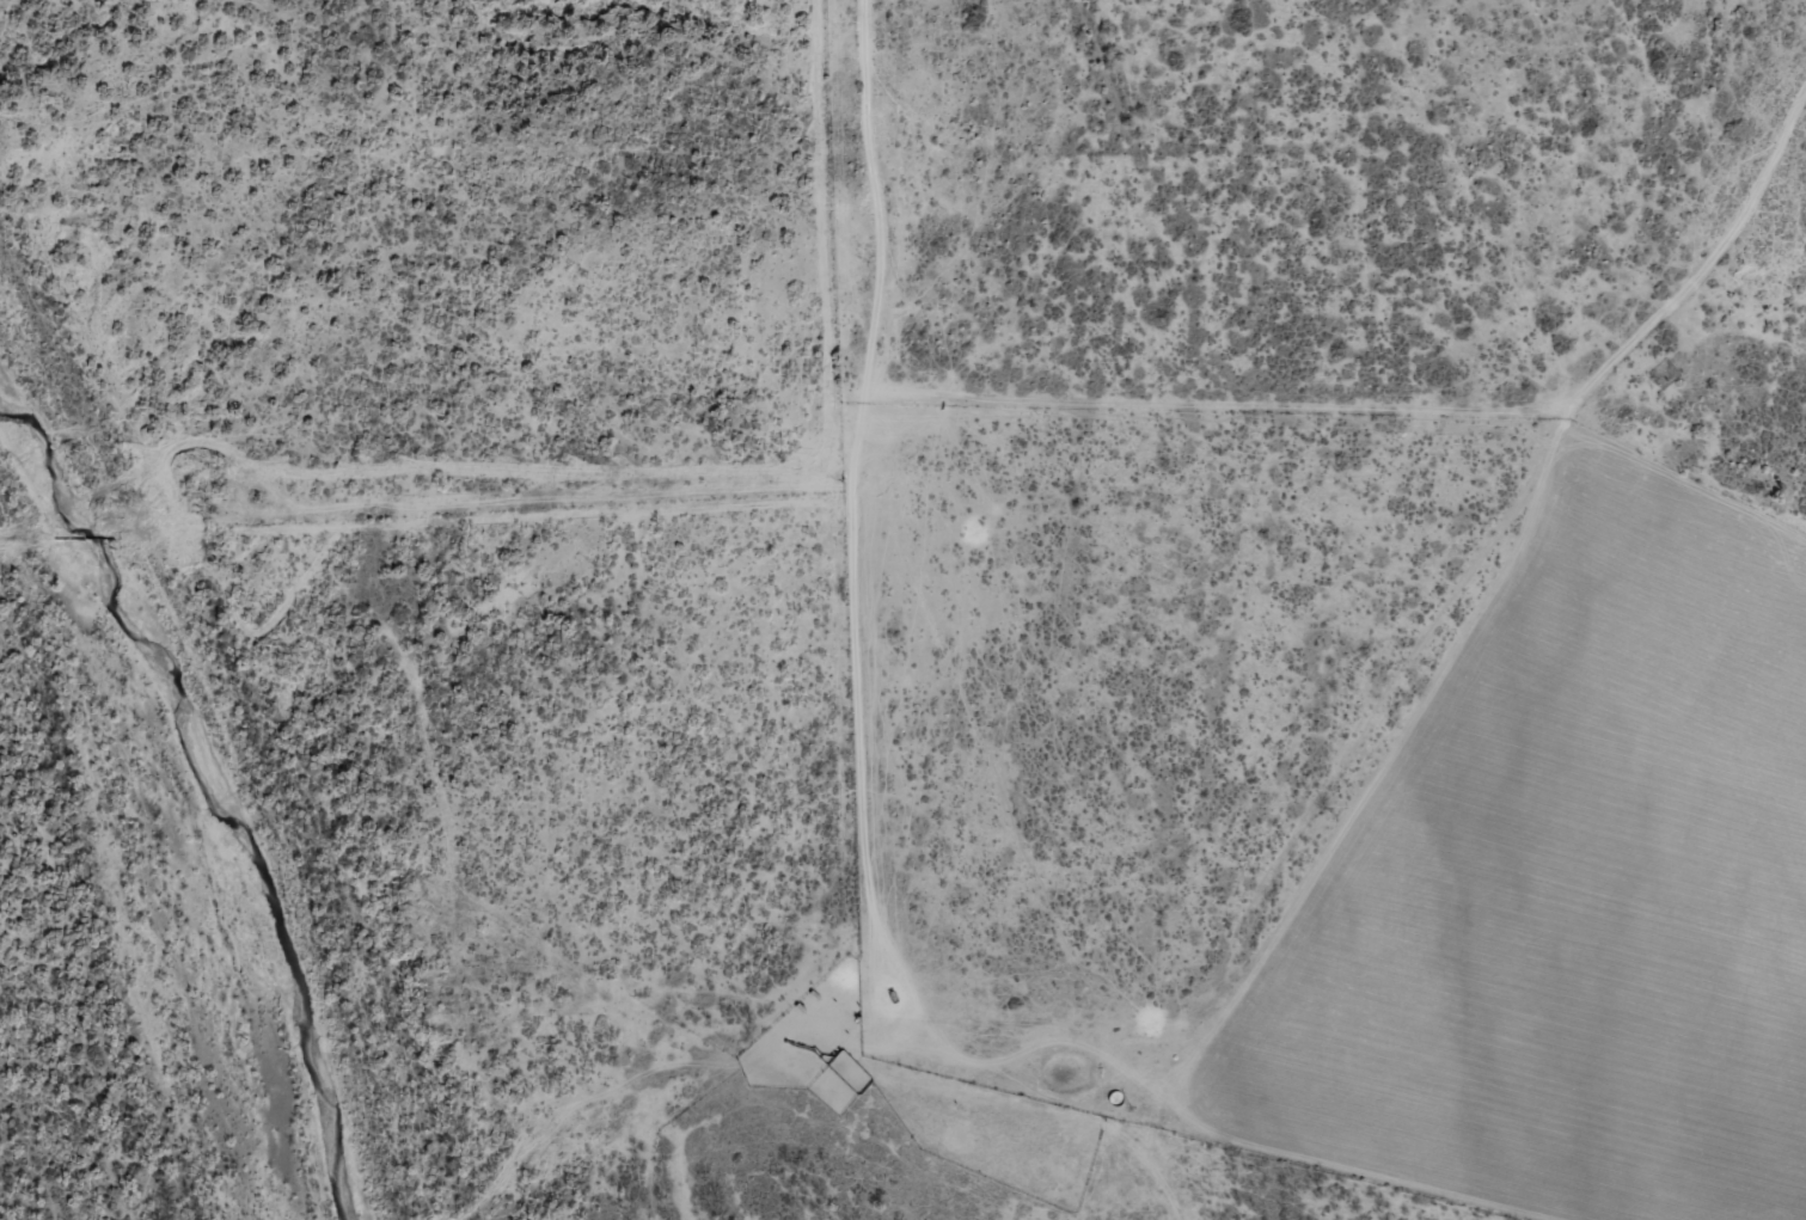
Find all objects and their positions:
river: (200, 798)
road: (862, 852)
road: (693, 903)

